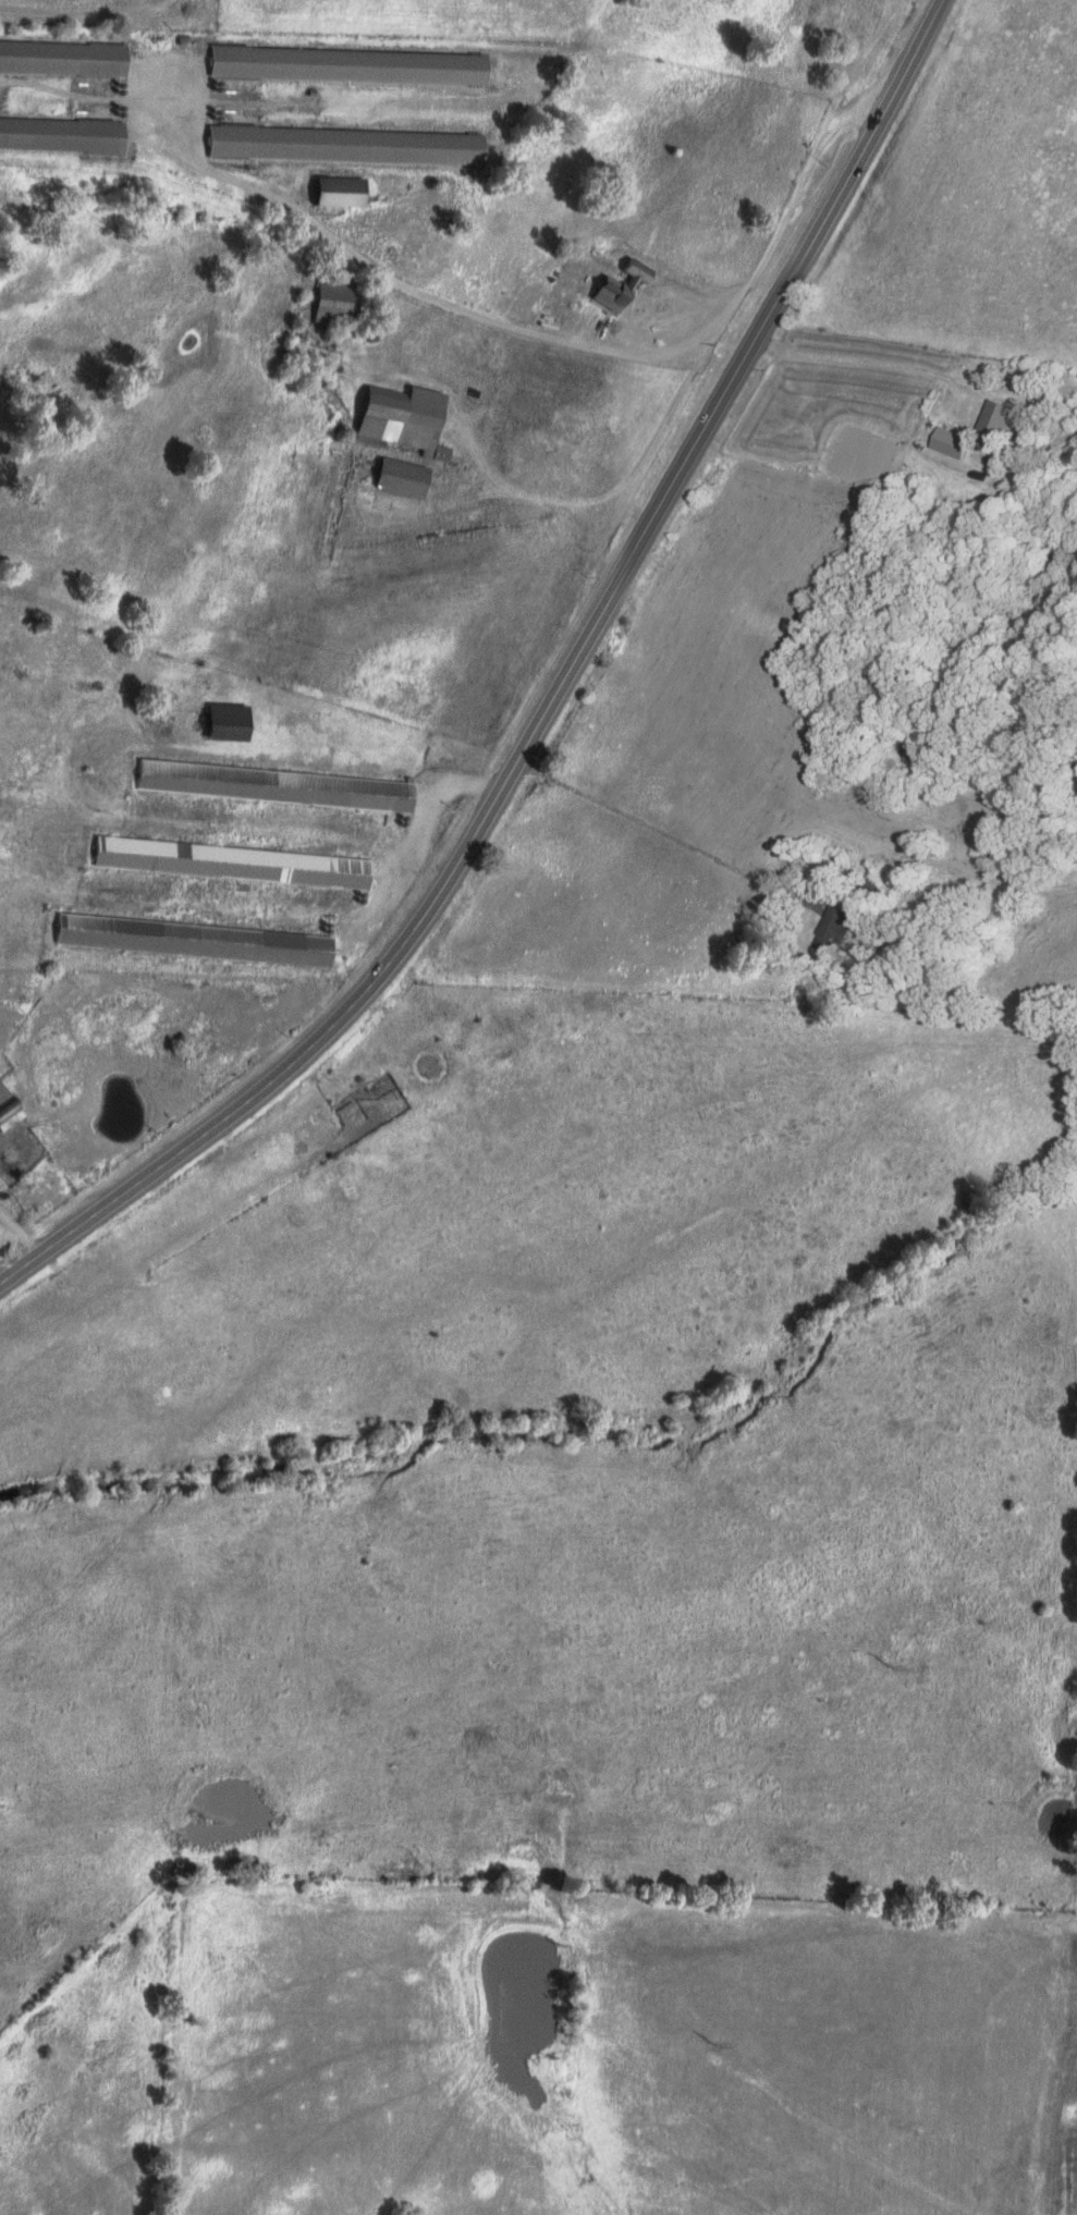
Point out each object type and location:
building: (61, 56)
building: (344, 63)
building: (60, 133)
building: (342, 143)
building: (334, 189)
building: (615, 284)
building: (332, 297)
road: (527, 325)
building: (306, 352)
building: (400, 417)
building: (998, 420)
building: (953, 441)
building: (396, 476)
road: (448, 495)
road: (590, 533)
road: (732, 573)
road: (540, 696)
building: (222, 721)
road: (725, 744)
building: (271, 784)
road: (665, 824)
road: (413, 839)
building: (229, 861)
building: (834, 929)
building: (191, 939)
road: (19, 1223)
road: (1053, 2120)

